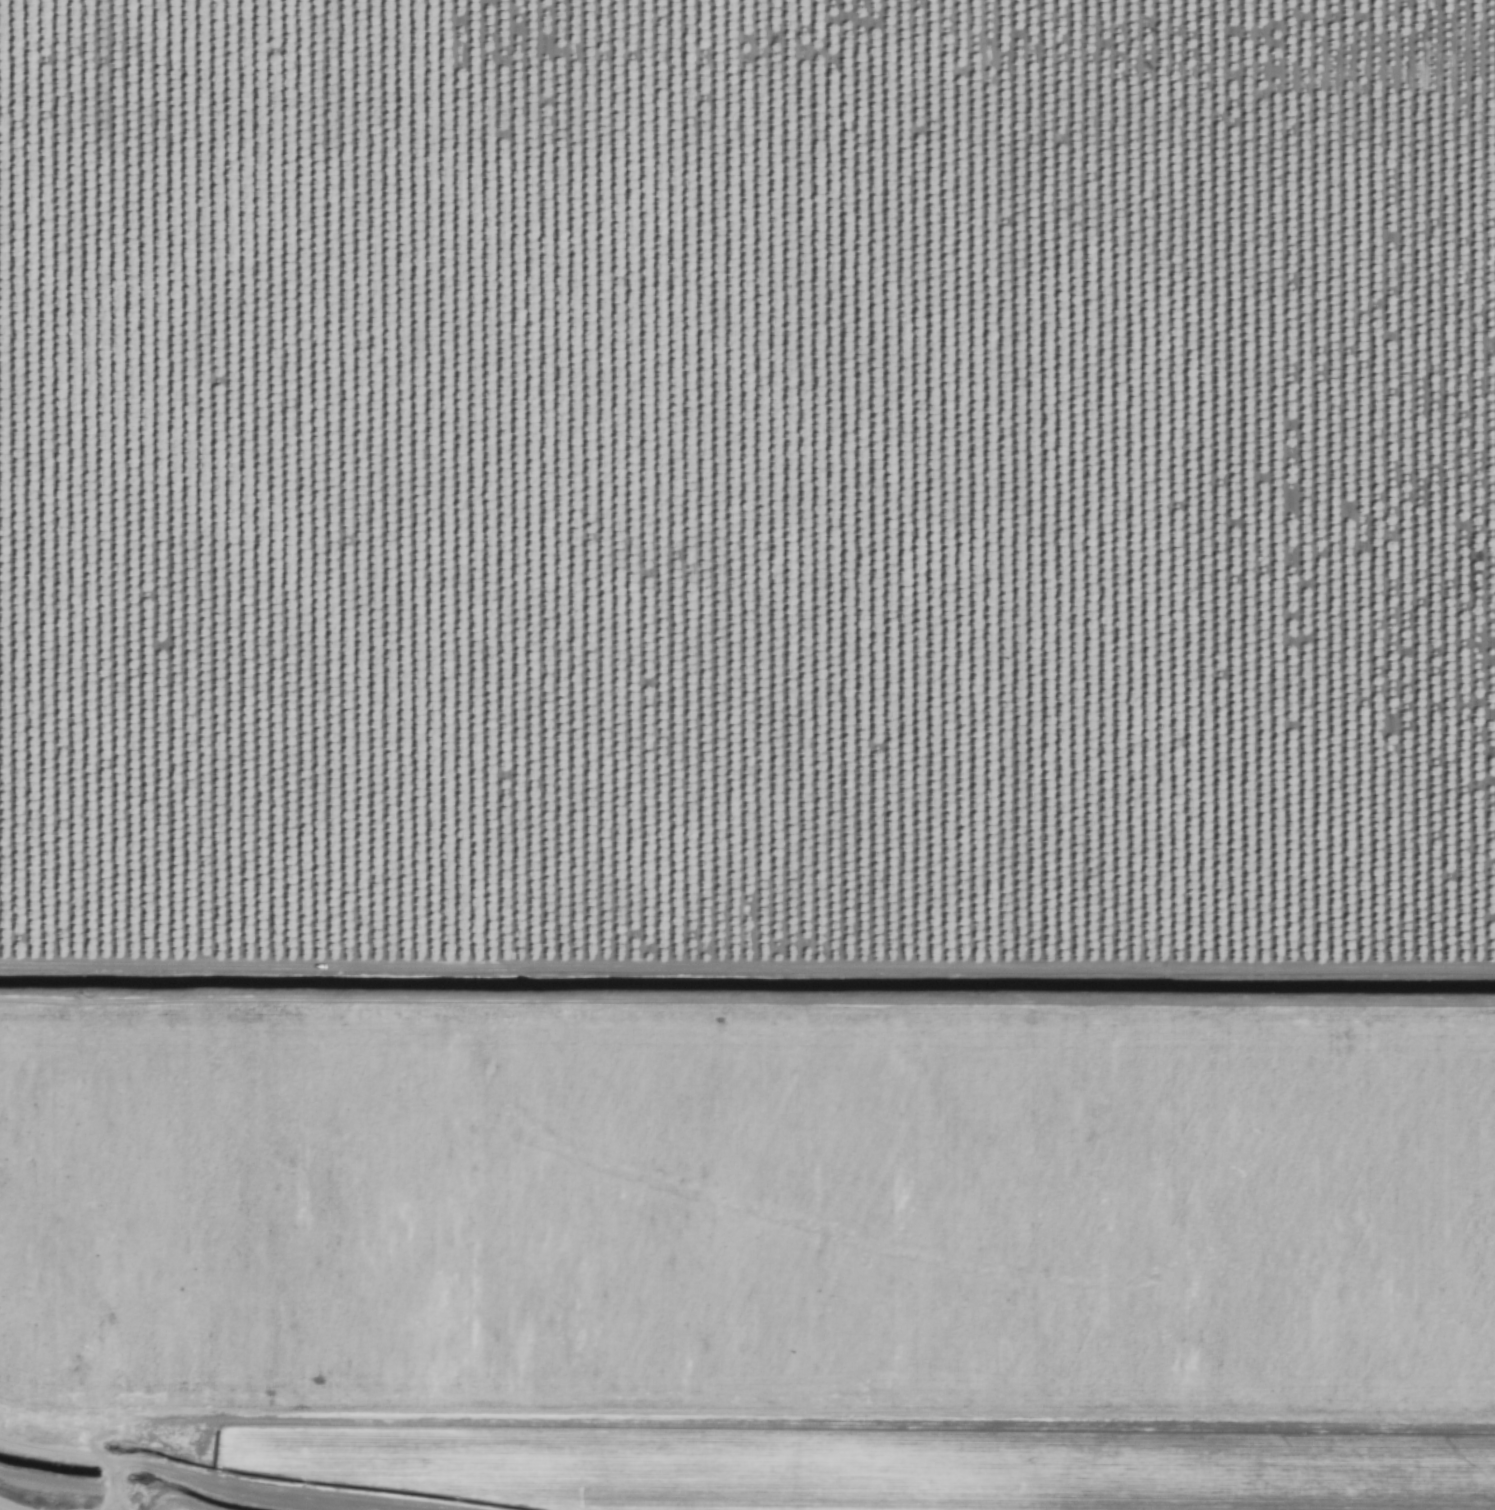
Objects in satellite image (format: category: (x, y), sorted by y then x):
road: (11, 1505)

